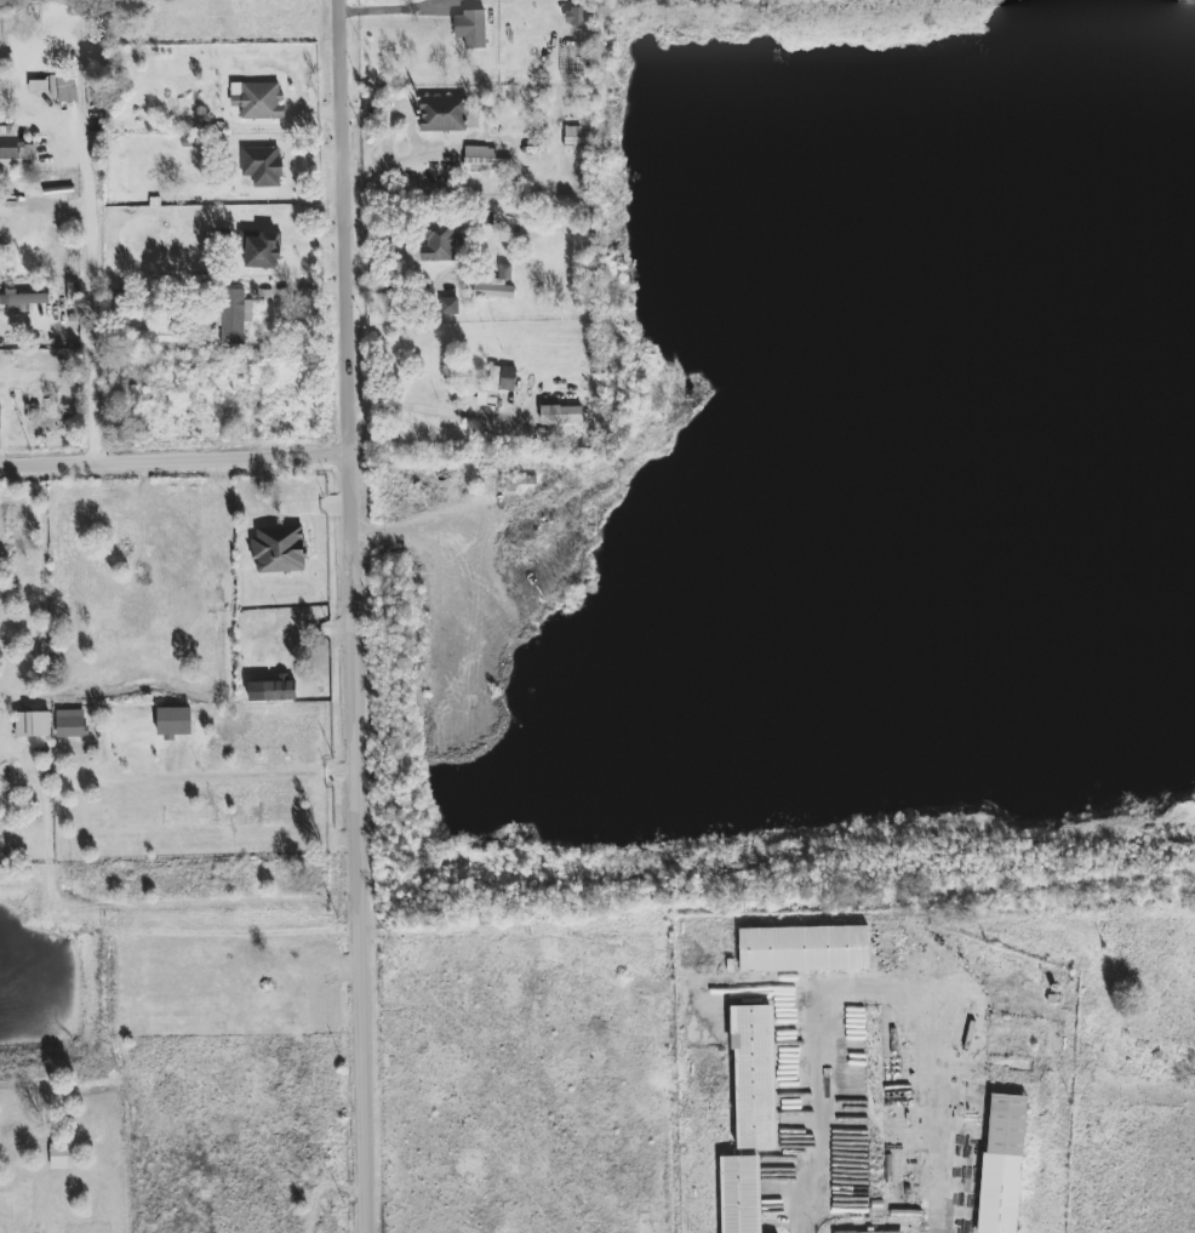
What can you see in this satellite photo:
road: (399, 8)
building: (470, 28)
building: (39, 86)
building: (67, 87)
building: (258, 101)
building: (444, 114)
building: (13, 149)
building: (485, 160)
building: (262, 166)
building: (440, 242)
building: (262, 251)
building: (494, 285)
building: (22, 301)
building: (448, 306)
building: (234, 315)
road: (91, 321)
building: (162, 337)
building: (496, 386)
road: (439, 401)
building: (561, 415)
building: (0, 417)
road: (178, 458)
building: (279, 549)
road: (360, 616)
building: (271, 690)
building: (173, 721)
building: (33, 724)
building: (70, 724)
road: (181, 765)
road: (215, 782)
road: (130, 940)
building: (804, 948)
building: (754, 1077)
building: (61, 1157)
building: (1002, 1164)
building: (741, 1194)
building: (876, 1232)

